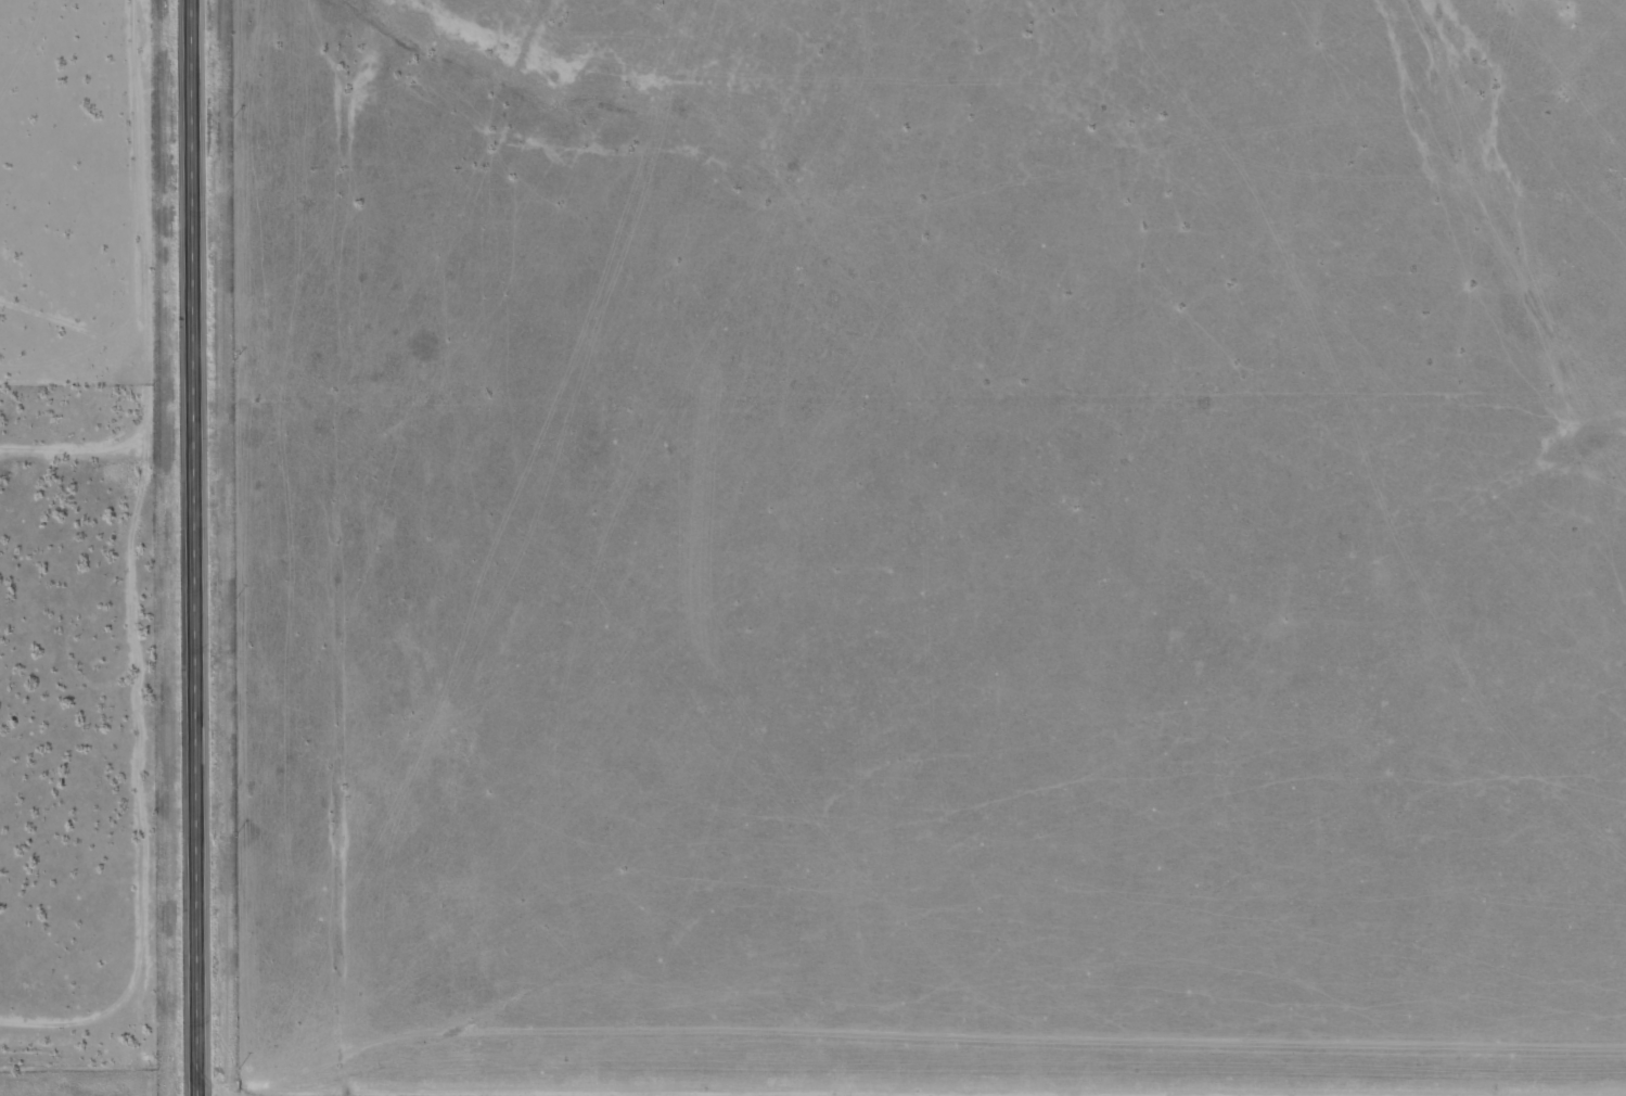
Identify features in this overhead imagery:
road: (188, 548)
road: (73, 1072)
road: (249, 1092)

